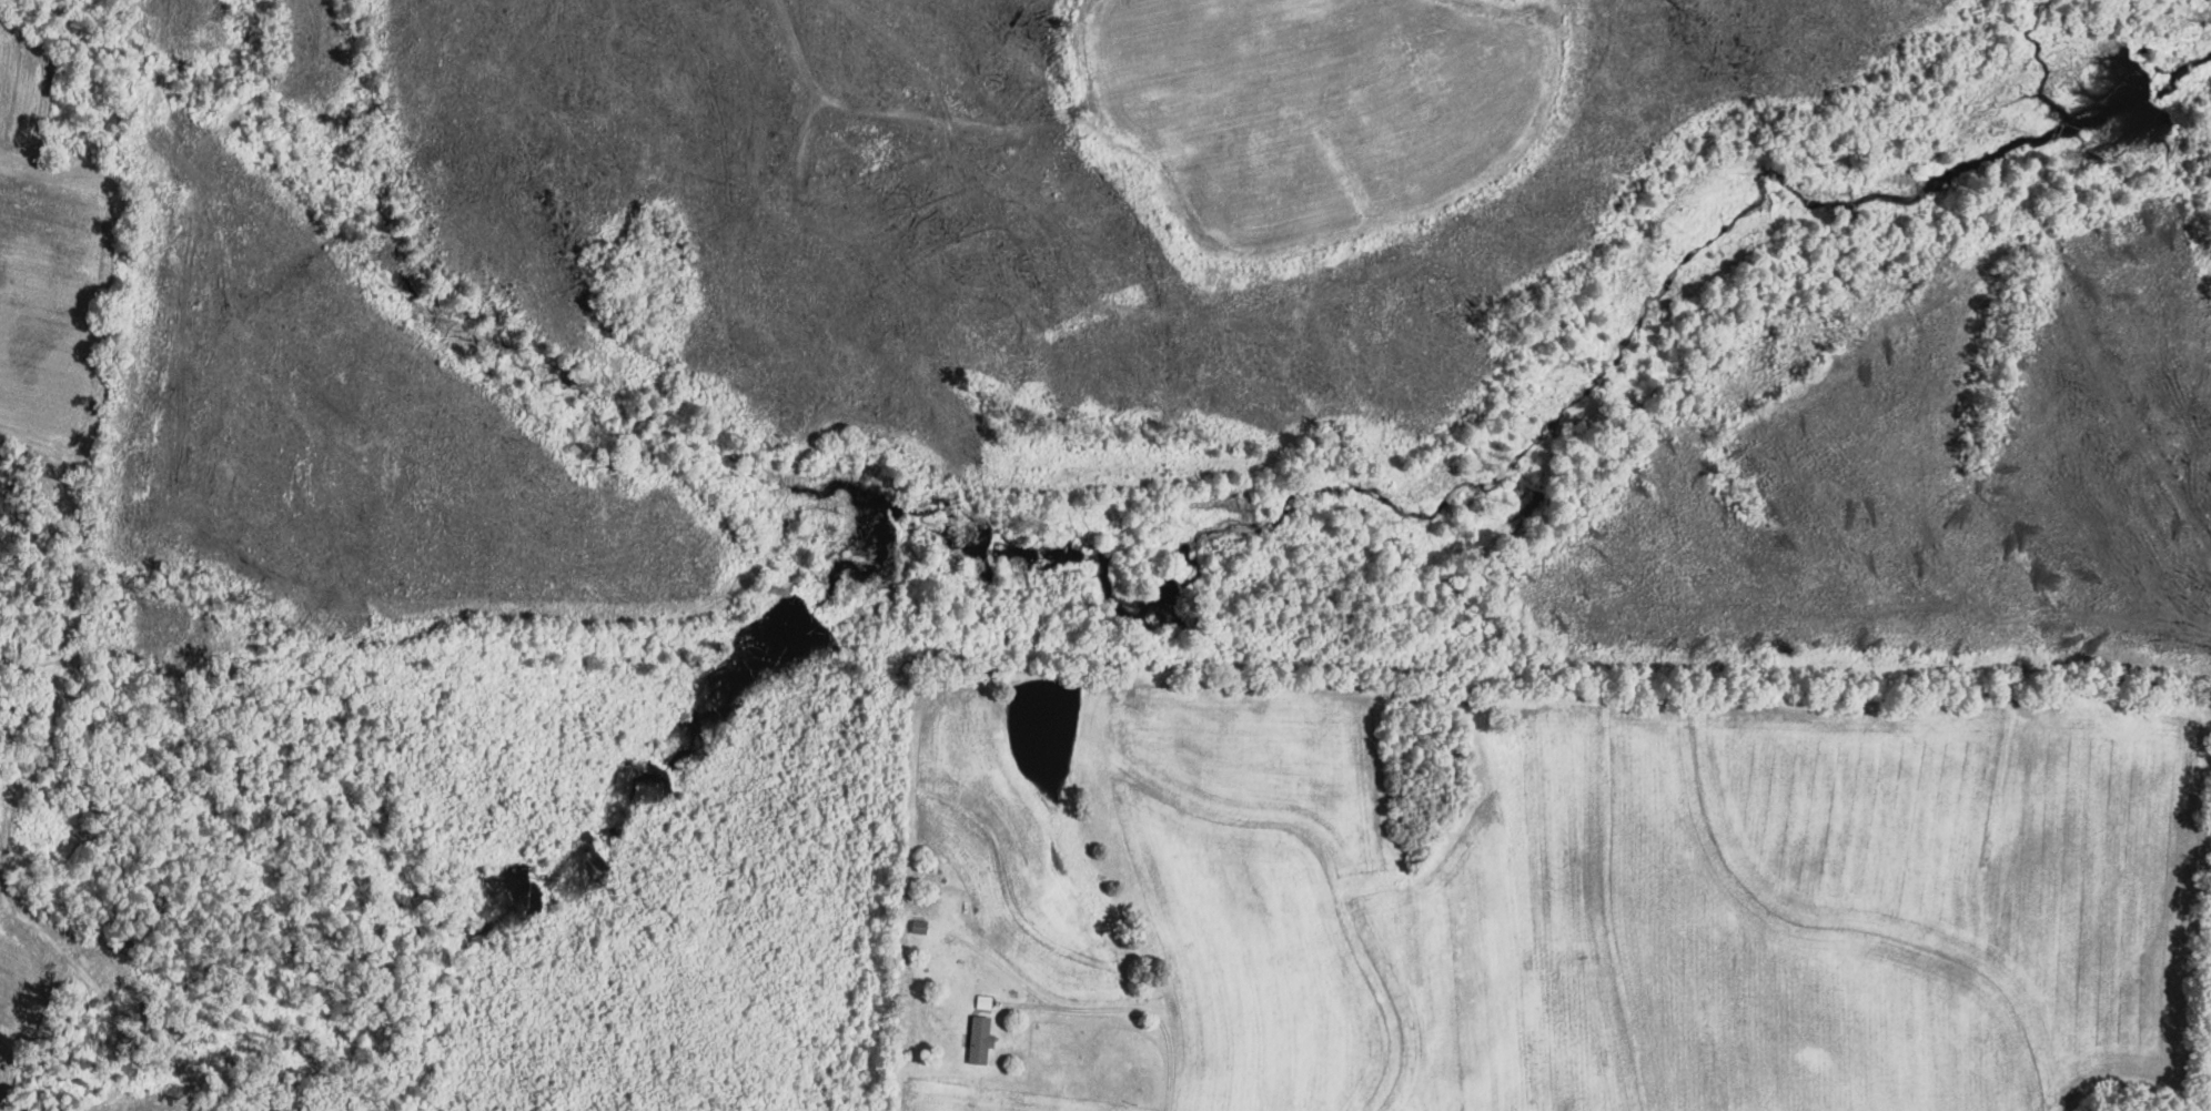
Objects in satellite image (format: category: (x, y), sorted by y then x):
road: (1135, 1008)
building: (983, 1039)

